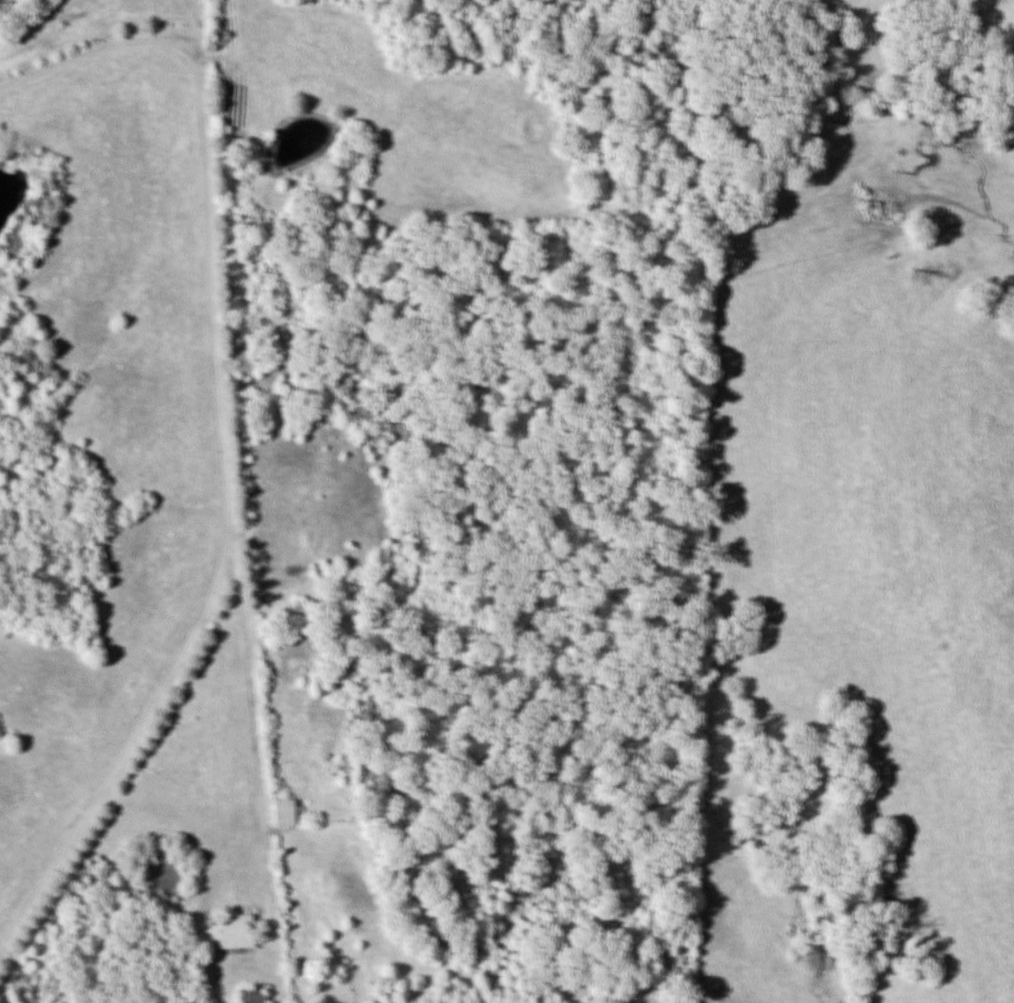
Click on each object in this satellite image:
road: (216, 418)
building: (279, 813)
building: (230, 933)
building: (248, 996)

